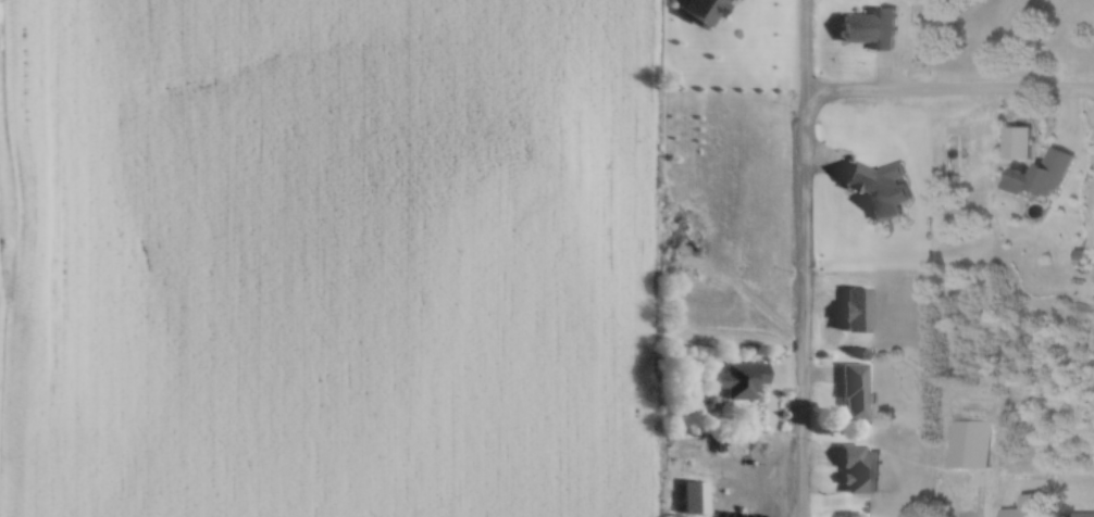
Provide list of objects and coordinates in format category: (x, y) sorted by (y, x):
building: (868, 27)
road: (948, 88)
building: (1049, 172)
road: (804, 258)
building: (856, 308)
building: (738, 378)
road: (747, 378)
building: (851, 390)
road: (1083, 487)
building: (1025, 506)
building: (1087, 515)

